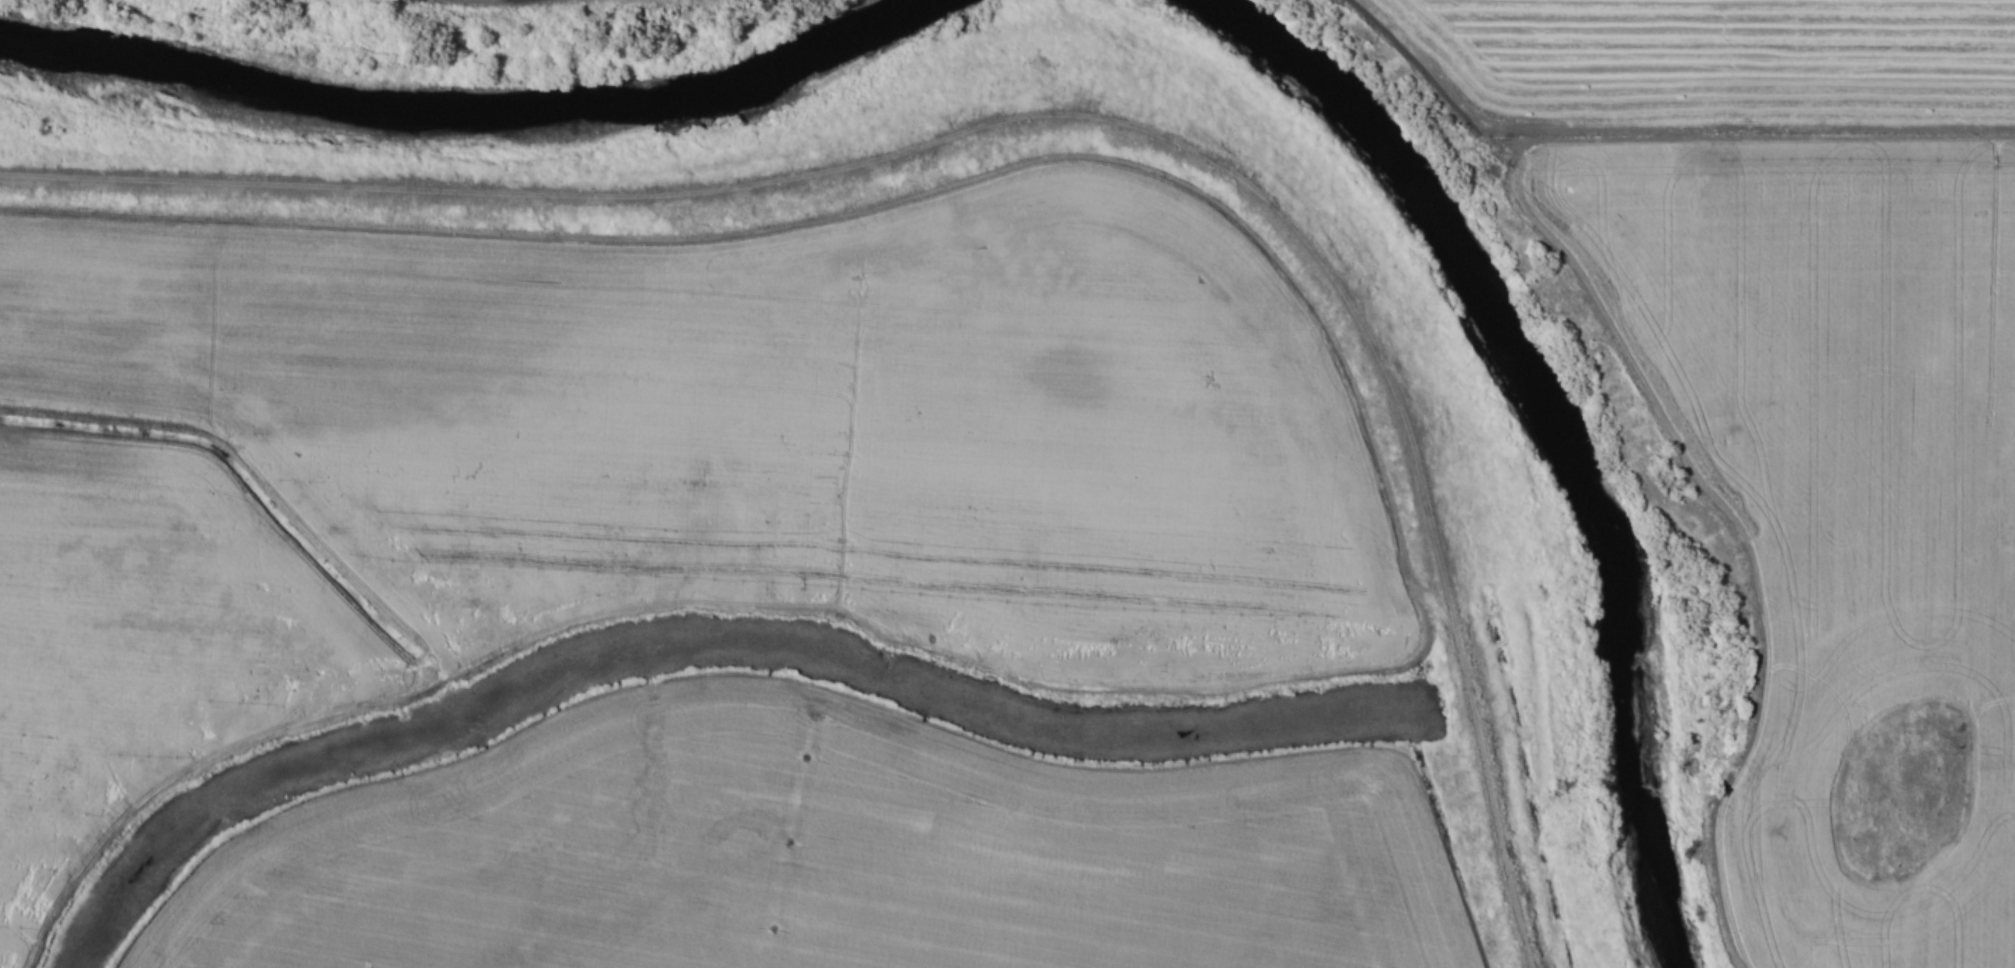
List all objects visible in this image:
river: (471, 112)
river: (1552, 429)

